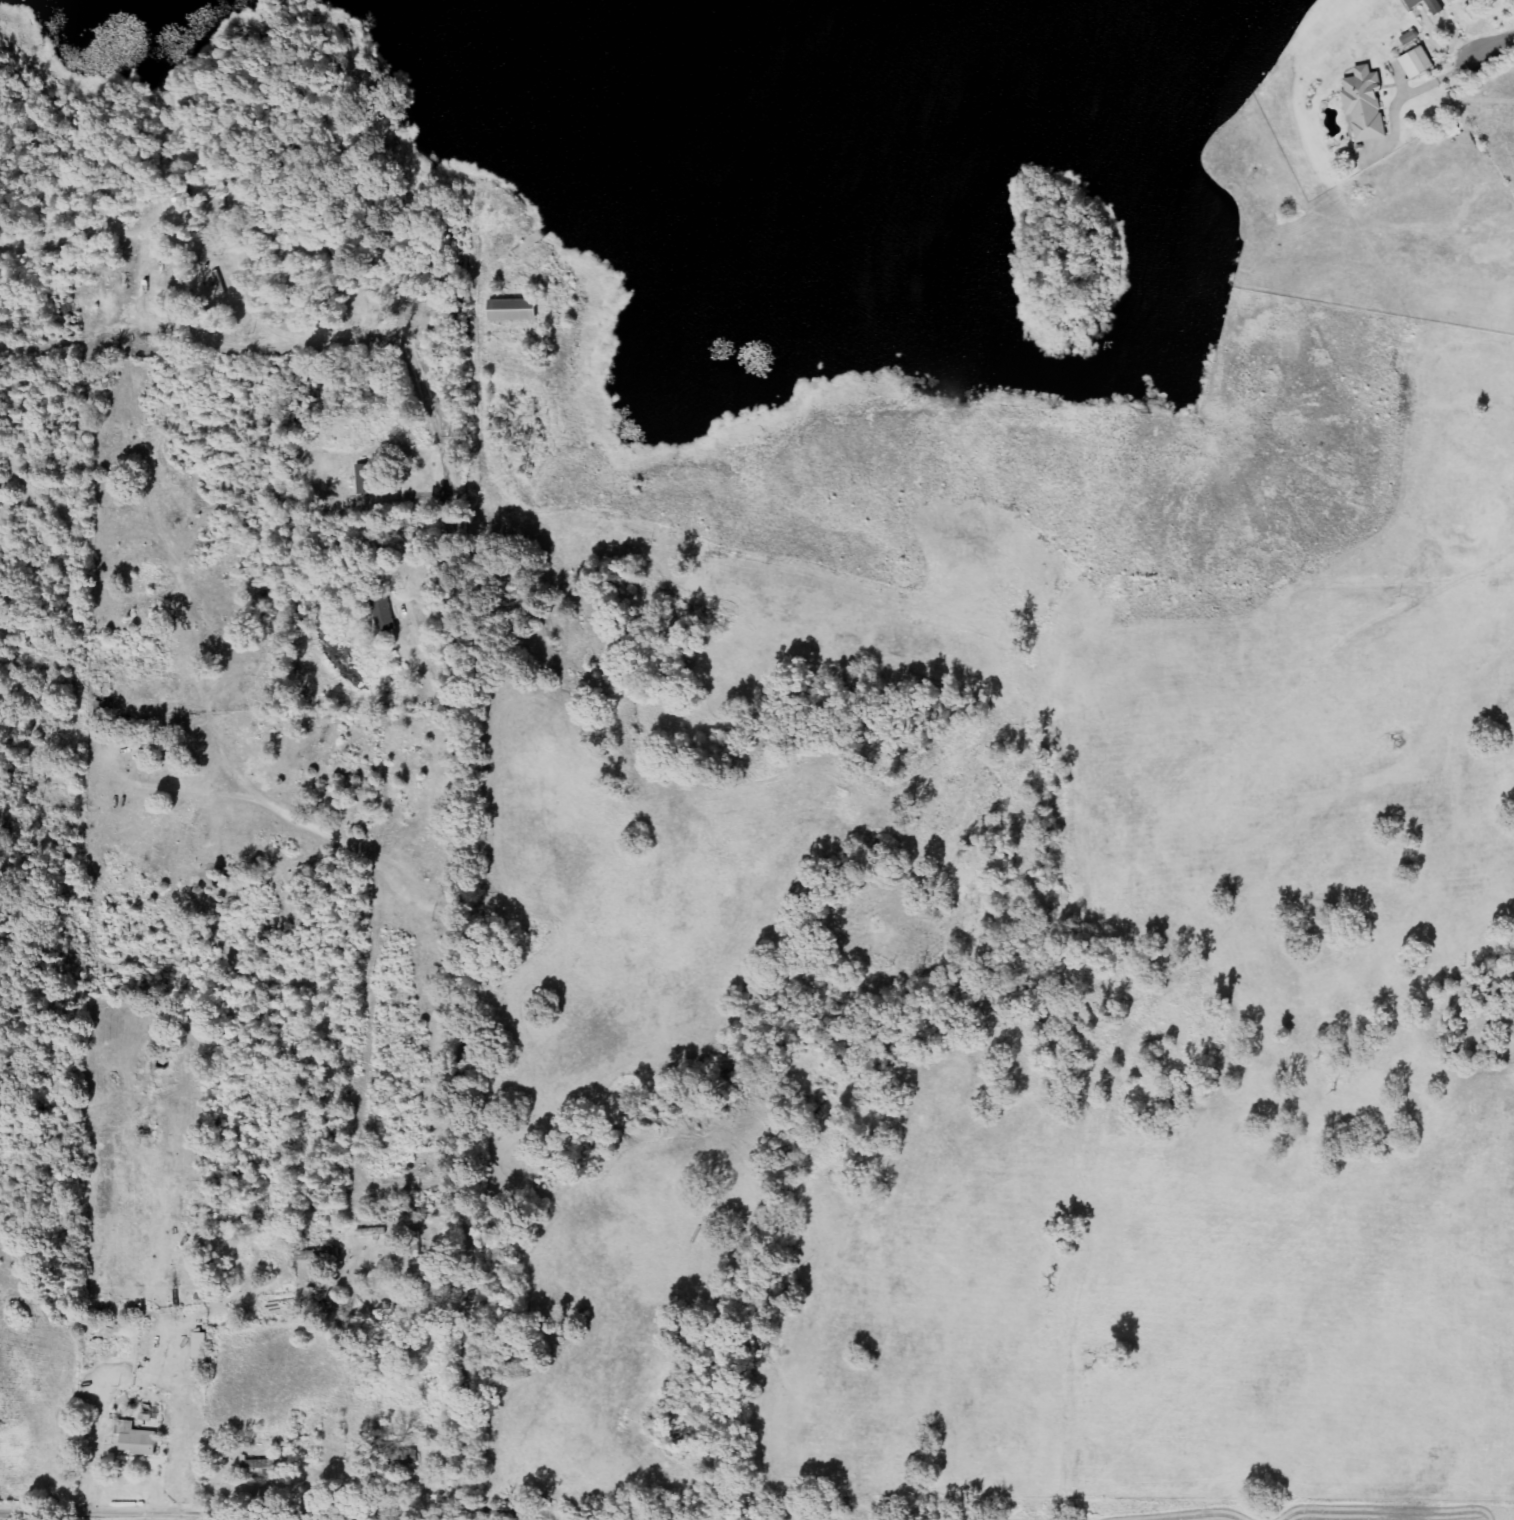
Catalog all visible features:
building: (1454, 1)
building: (1436, 6)
building: (1410, 39)
road: (1492, 44)
building: (1418, 63)
building: (1367, 104)
building: (514, 310)
road: (424, 396)
building: (384, 615)
building: (373, 1232)
road: (470, 1301)
building: (201, 1346)
building: (108, 1349)
building: (137, 1440)
building: (262, 1468)

